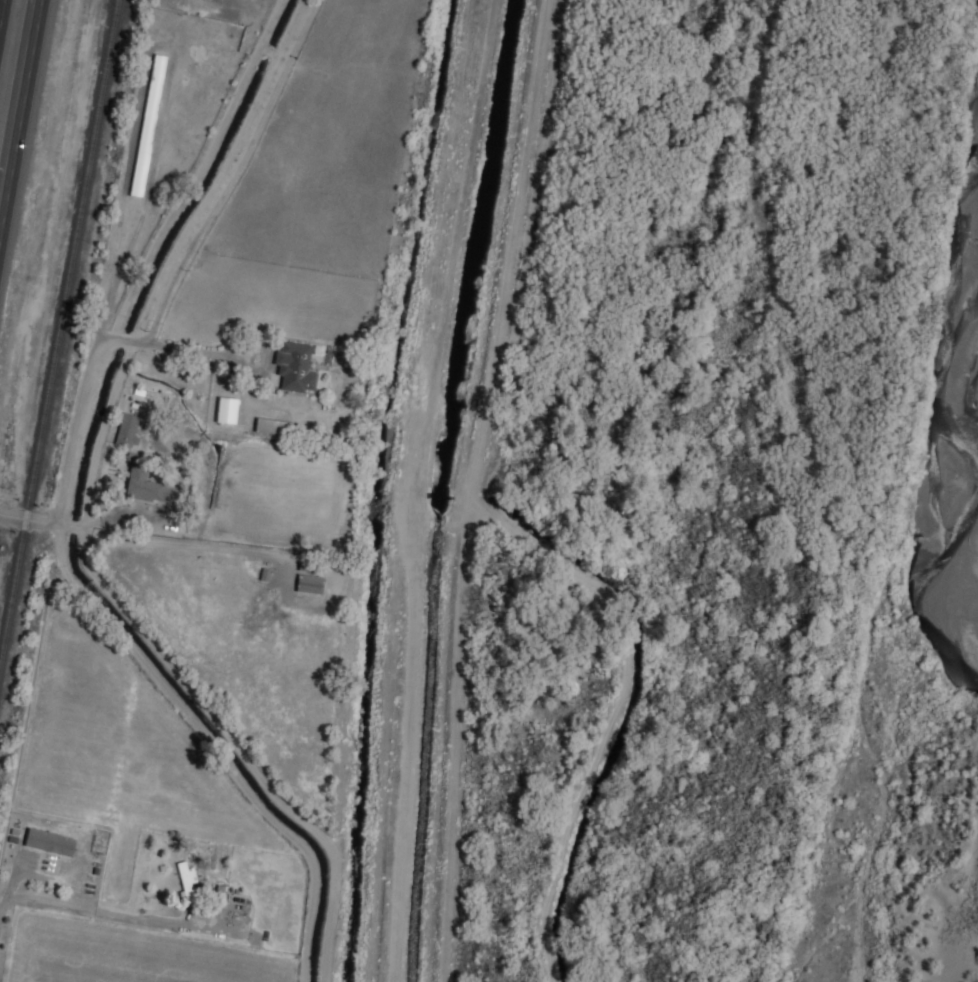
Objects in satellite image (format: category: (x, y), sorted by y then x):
road: (1, 6)
road: (22, 120)
building: (148, 125)
railway: (57, 334)
building: (296, 366)
building: (228, 411)
building: (276, 427)
building: (129, 430)
building: (148, 486)
road: (66, 497)
road: (27, 514)
building: (310, 584)
building: (52, 843)
building: (189, 882)
road: (36, 899)

